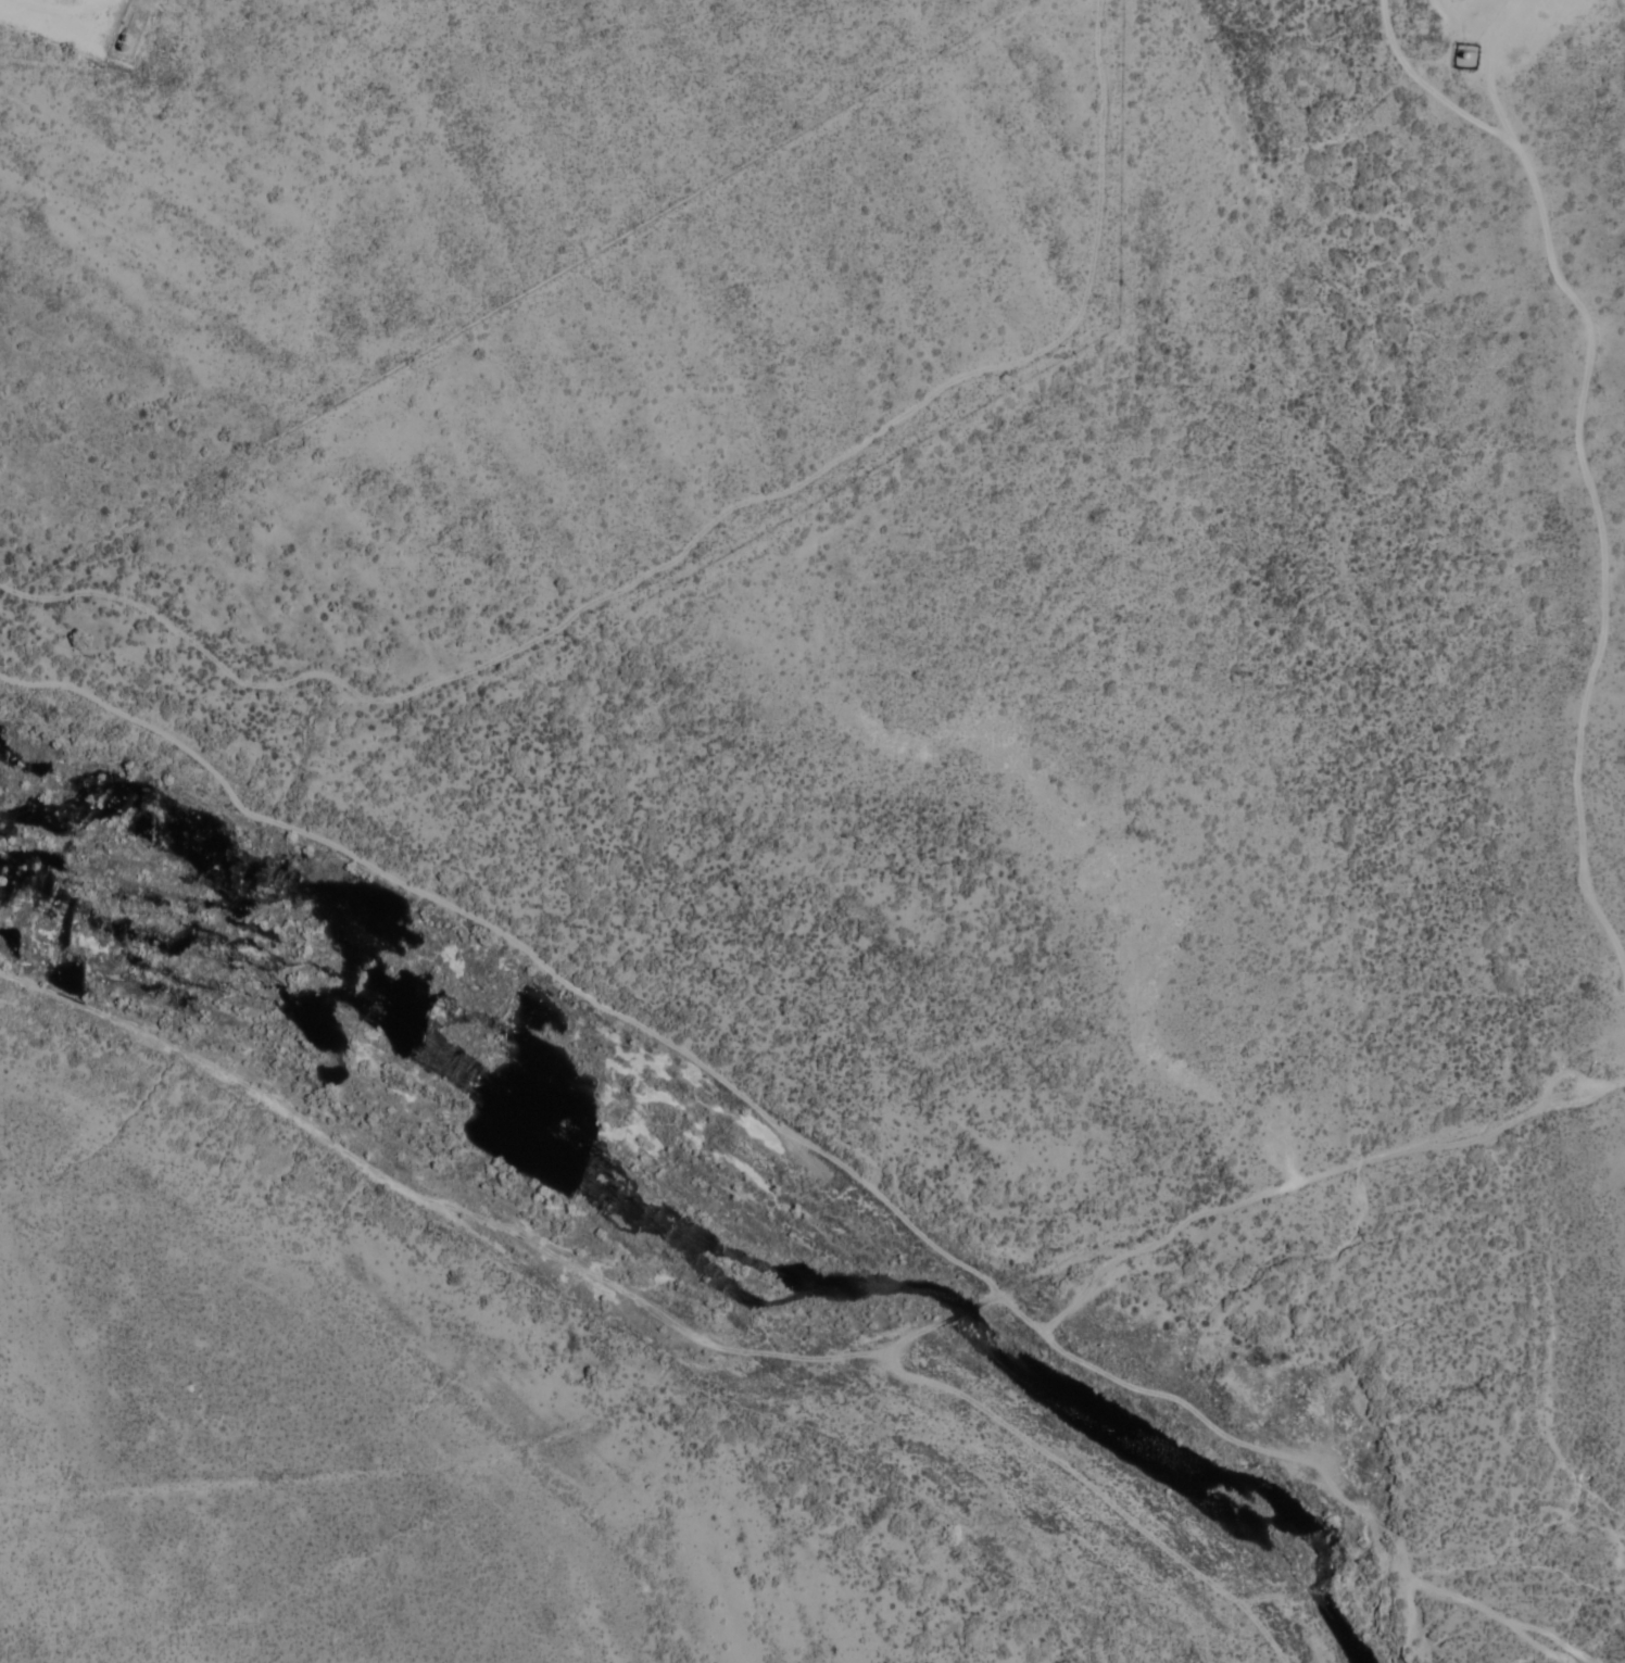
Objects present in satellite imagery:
road: (1456, 22)
road: (1457, 109)
road: (1578, 441)
road: (784, 491)
road: (172, 629)
river: (191, 935)
road: (520, 944)
road: (1312, 1177)
river: (907, 1294)
road: (799, 1355)
road: (1098, 1489)

